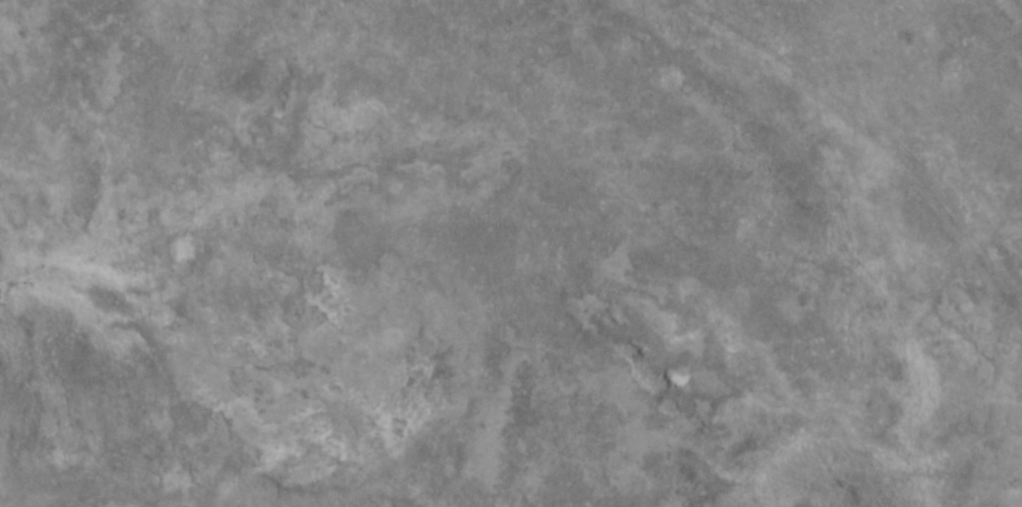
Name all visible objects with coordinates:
road: (905, 113)

